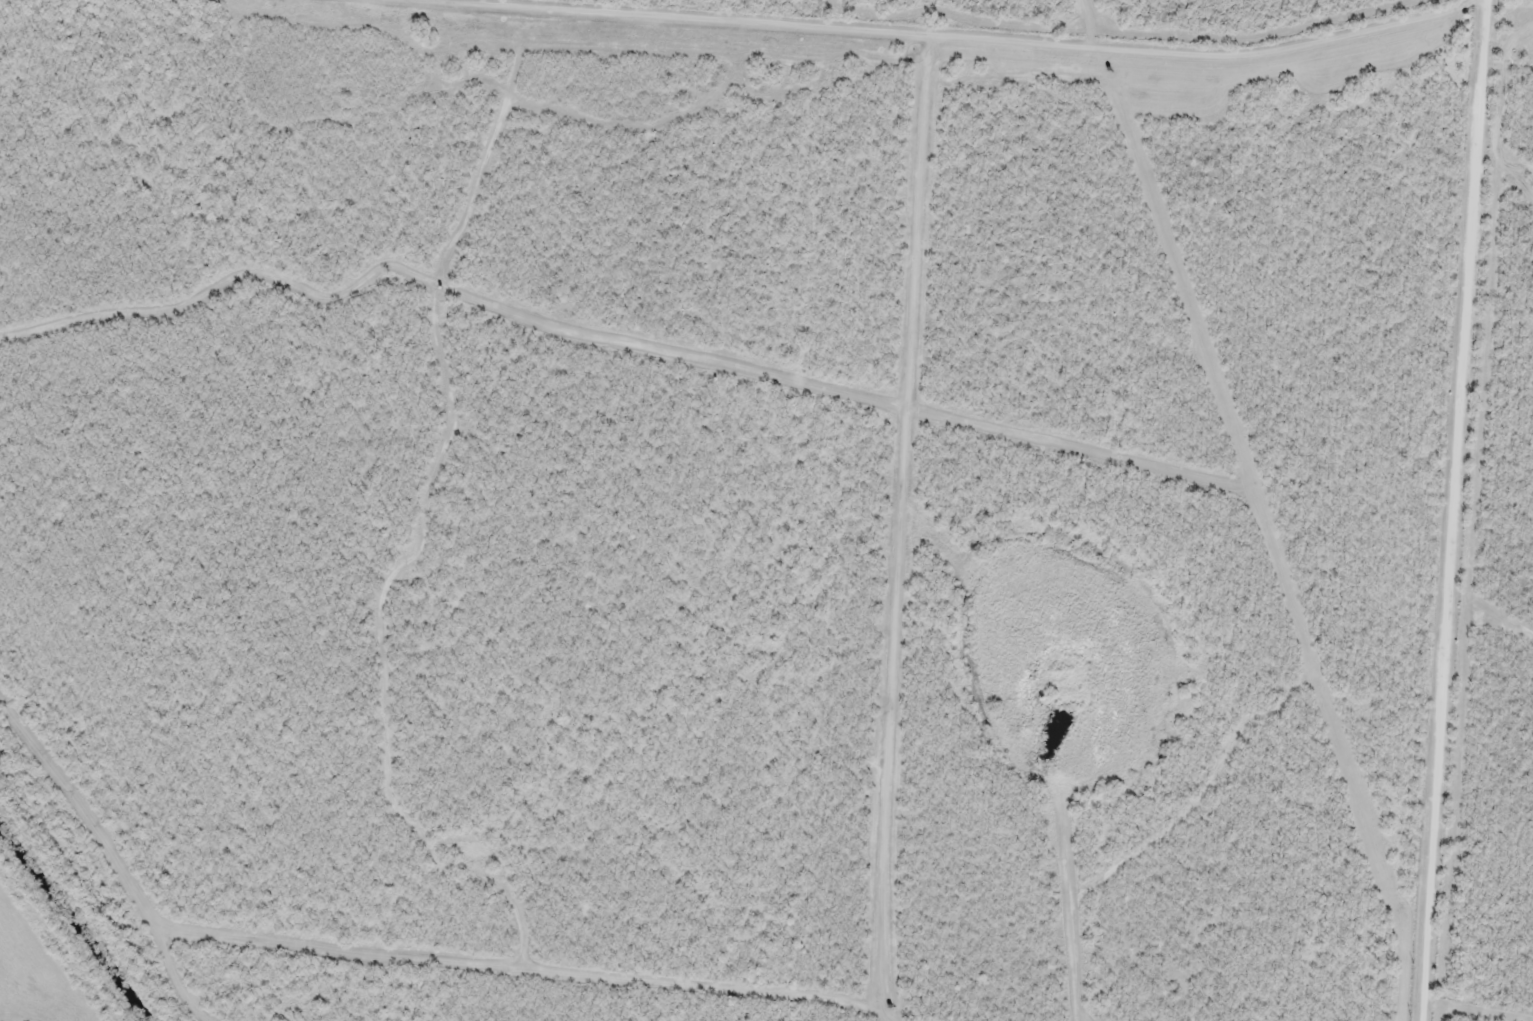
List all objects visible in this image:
road: (1471, 510)
river: (1059, 645)

